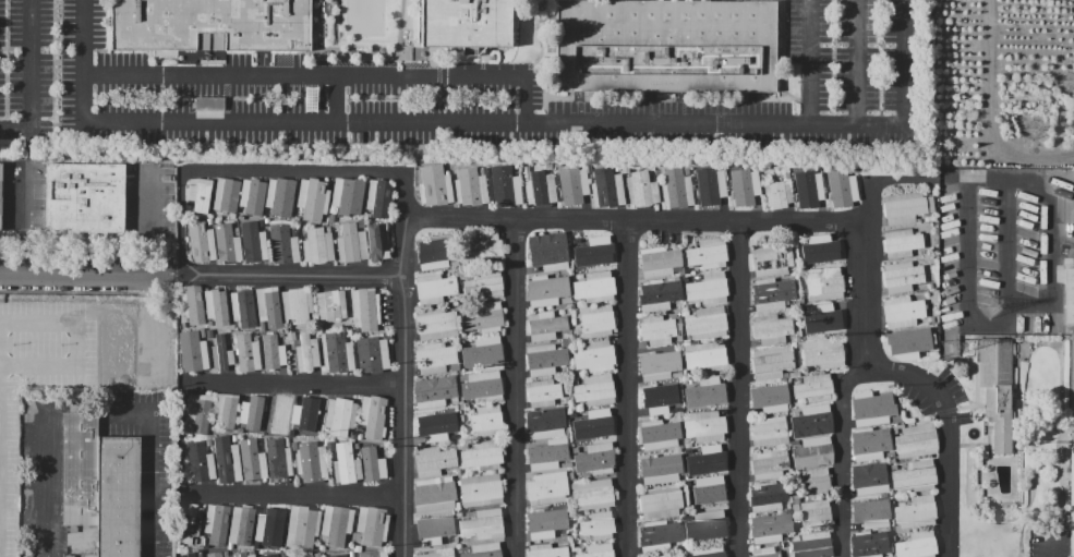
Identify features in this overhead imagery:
park: (366, 15)
road: (880, 22)
building: (212, 24)
building: (469, 24)
road: (314, 37)
road: (373, 37)
building: (664, 46)
road: (810, 62)
road: (858, 62)
road: (325, 75)
road: (31, 77)
power tower: (1064, 84)
parking lot: (492, 96)
road: (339, 98)
road: (153, 120)
road: (683, 123)
power tower: (1031, 133)
road: (47, 141)
building: (481, 171)
building: (524, 172)
road: (292, 175)
building: (584, 175)
building: (786, 175)
road: (922, 179)
building: (795, 184)
building: (434, 185)
building: (505, 186)
building: (470, 187)
building: (539, 187)
building: (607, 189)
building: (676, 189)
building: (641, 190)
building: (745, 190)
building: (842, 190)
building: (574, 191)
building: (710, 191)
building: (1, 194)
building: (200, 194)
building: (809, 194)
building: (226, 195)
building: (251, 195)
building: (347, 195)
building: (777, 195)
building: (280, 196)
building: (378, 197)
building: (313, 198)
building: (81, 199)
building: (906, 207)
building: (197, 216)
building: (231, 217)
building: (331, 218)
building: (298, 219)
road: (635, 220)
building: (208, 221)
building: (261, 221)
building: (266, 221)
road: (180, 223)
building: (361, 223)
road: (21, 225)
road: (148, 226)
building: (237, 231)
building: (293, 231)
building: (254, 241)
building: (377, 241)
building: (201, 242)
building: (227, 242)
road: (1007, 242)
building: (351, 243)
building: (901, 243)
building: (283, 244)
building: (317, 245)
building: (482, 246)
building: (548, 251)
building: (822, 251)
building: (436, 252)
building: (925, 252)
building: (595, 253)
building: (708, 254)
building: (771, 261)
building: (659, 262)
building: (454, 263)
building: (687, 271)
building: (695, 273)
road: (288, 274)
road: (86, 275)
building: (902, 277)
building: (485, 284)
building: (824, 284)
building: (929, 286)
building: (594, 287)
building: (434, 288)
building: (803, 288)
building: (708, 289)
building: (546, 290)
building: (1069, 291)
building: (772, 293)
building: (659, 294)
building: (565, 300)
building: (800, 301)
building: (191, 304)
building: (298, 304)
road: (1030, 304)
building: (217, 305)
building: (331, 305)
building: (681, 305)
building: (268, 306)
building: (243, 308)
building: (363, 308)
power tower: (989, 311)
building: (560, 312)
building: (902, 312)
building: (937, 312)
building: (574, 314)
building: (686, 314)
building: (484, 317)
building: (823, 317)
road: (2, 318)
building: (932, 318)
building: (596, 320)
building: (209, 323)
building: (436, 323)
building: (574, 323)
building: (707, 323)
building: (545, 326)
building: (771, 328)
building: (656, 330)
building: (313, 331)
building: (679, 332)
building: (255, 338)
building: (799, 338)
building: (462, 341)
building: (566, 342)
building: (908, 346)
power tower: (951, 351)
building: (192, 352)
building: (336, 352)
building: (483, 352)
building: (220, 353)
building: (248, 353)
building: (273, 353)
building: (306, 353)
building: (823, 353)
building: (372, 354)
building: (704, 355)
building: (594, 356)
building: (434, 358)
building: (544, 360)
building: (657, 363)
building: (771, 363)
road: (403, 366)
road: (858, 366)
building: (455, 367)
building: (674, 374)
building: (794, 374)
building: (462, 378)
building: (782, 379)
building: (575, 380)
building: (1072, 380)
road: (128, 382)
building: (689, 382)
road: (293, 385)
building: (482, 386)
road: (517, 388)
road: (630, 388)
road: (743, 388)
building: (813, 388)
building: (997, 389)
building: (434, 390)
building: (595, 390)
building: (709, 391)
building: (543, 393)
building: (770, 398)
building: (566, 400)
building: (660, 400)
building: (578, 407)
building: (871, 409)
building: (226, 411)
building: (795, 411)
building: (251, 412)
building: (278, 412)
building: (198, 413)
building: (304, 414)
building: (578, 414)
building: (340, 415)
building: (372, 415)
building: (570, 415)
building: (896, 419)
building: (487, 421)
building: (811, 422)
building: (545, 423)
building: (594, 425)
building: (704, 426)
building: (433, 431)
road: (949, 431)
building: (566, 432)
building: (769, 432)
building: (351, 434)
building: (188, 435)
building: (291, 435)
building: (458, 435)
building: (660, 435)
building: (359, 436)
building: (234, 438)
road: (180, 439)
building: (287, 441)
building: (916, 441)
building: (207, 443)
building: (795, 443)
building: (870, 444)
building: (357, 445)
building: (382, 445)
building: (293, 446)
building: (329, 446)
building: (812, 452)
building: (547, 455)
building: (890, 455)
building: (482, 456)
building: (704, 458)
building: (278, 459)
building: (595, 459)
building: (226, 460)
building: (252, 460)
building: (434, 461)
building: (892, 461)
building: (200, 462)
building: (311, 462)
building: (346, 464)
building: (373, 464)
building: (566, 464)
building: (769, 465)
building: (893, 467)
building: (659, 468)
road: (150, 469)
building: (457, 471)
building: (788, 474)
building: (570, 475)
building: (915, 476)
building: (869, 479)
road: (41, 482)
building: (816, 482)
building: (102, 485)
building: (547, 488)
building: (481, 489)
building: (709, 489)
building: (434, 494)
road: (293, 495)
building: (592, 495)
building: (768, 496)
building: (879, 499)
building: (796, 500)
building: (898, 501)
building: (660, 502)
building: (1072, 504)
building: (458, 506)
building: (788, 506)
building: (795, 507)
building: (916, 512)
building: (817, 513)
building: (459, 514)
building: (871, 516)
building: (577, 517)
building: (216, 523)
building: (546, 523)
building: (192, 524)
building: (336, 524)
building: (372, 524)
building: (482, 524)
building: (241, 525)
building: (269, 525)
building: (598, 525)
building: (705, 525)
building: (302, 526)
building: (770, 528)
building: (435, 529)
building: (565, 533)
building: (659, 536)
building: (797, 538)
building: (893, 538)
building: (869, 544)
building: (255, 545)
building: (917, 545)
building: (205, 546)
building: (675, 546)
building: (811, 546)
road: (1052, 546)
building: (322, 547)
building: (358, 548)
building: (575, 548)
building: (484, 550)
building: (546, 550)
building: (598, 550)
building: (709, 552)
building: (200, 553)
building: (438, 553)
building: (765, 553)
building: (205, 554)
building: (350, 554)
building: (374, 554)
building: (191, 555)
building: (242, 555)
building: (269, 555)
building: (316, 555)
building: (337, 555)
building: (309, 556)
building: (665, 556)
building: (894, 556)

